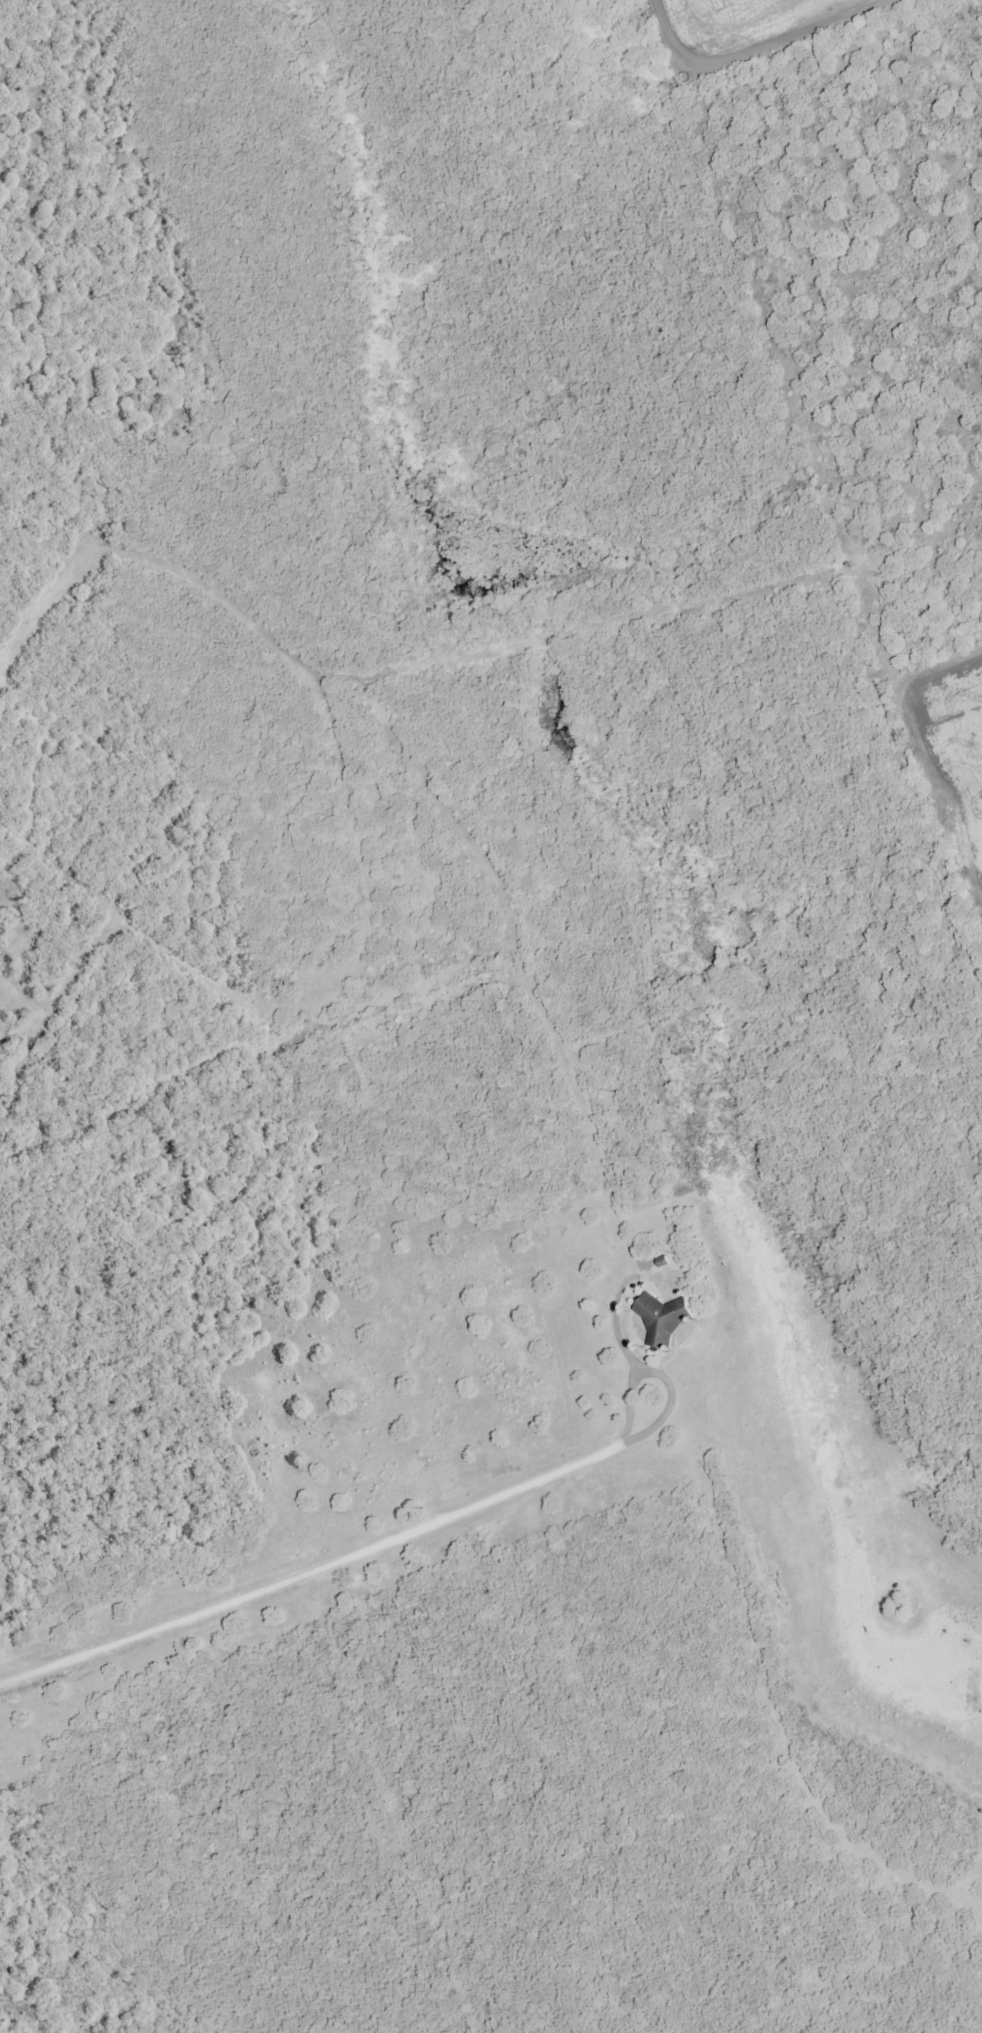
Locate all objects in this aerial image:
road: (744, 53)
building: (656, 1320)
road: (338, 1553)

